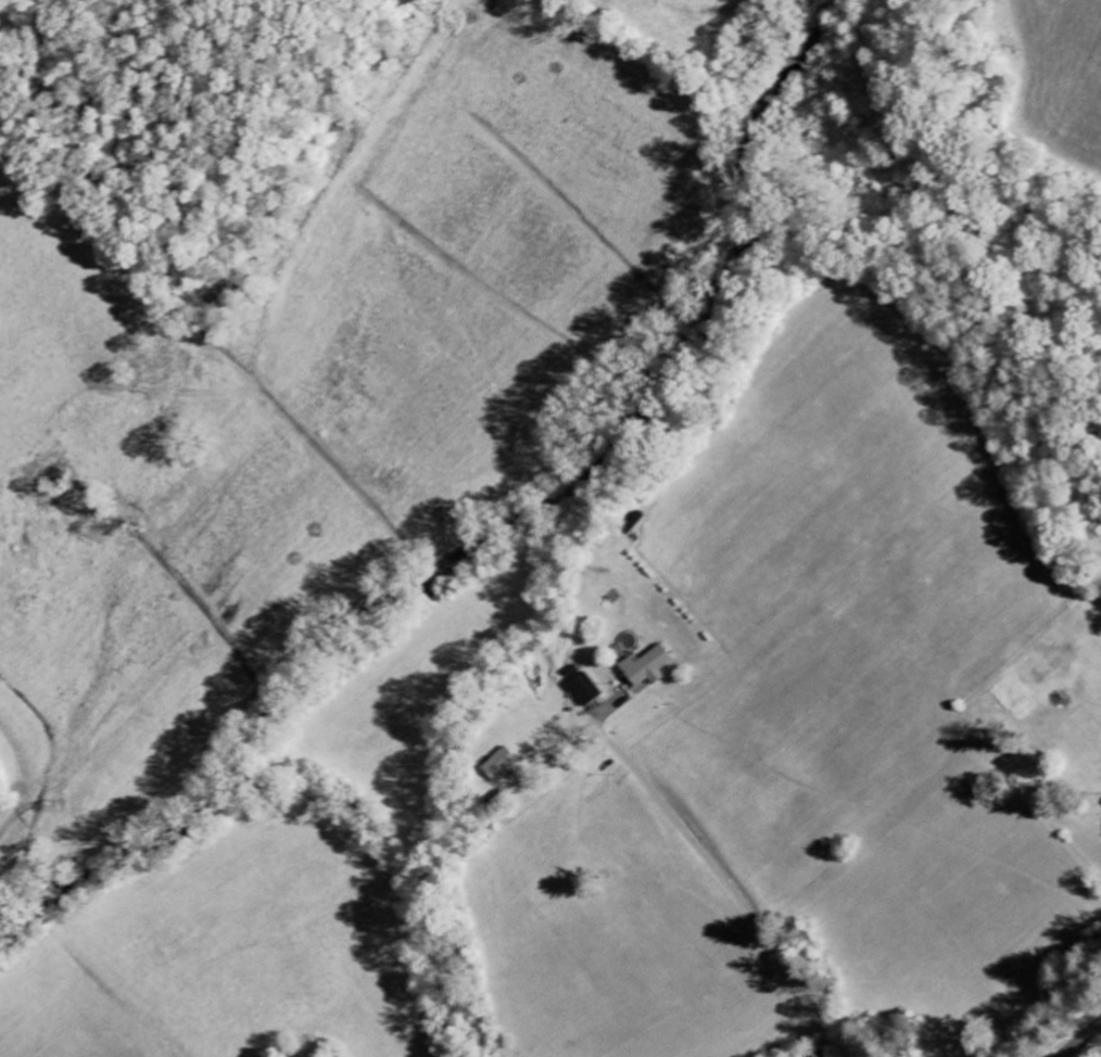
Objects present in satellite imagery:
building: (646, 668)
building: (584, 690)
building: (502, 765)
road: (737, 895)
road: (1096, 1034)
road: (1081, 1040)

